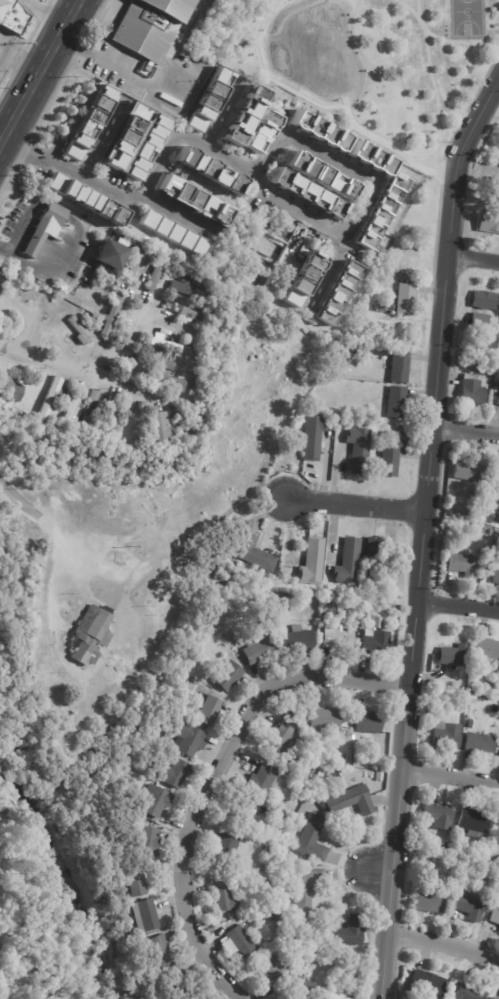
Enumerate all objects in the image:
building: (12, 16)
park: (465, 17)
building: (151, 28)
road: (181, 41)
road: (122, 61)
park: (363, 63)
road: (40, 73)
railway: (45, 84)
building: (209, 99)
road: (224, 112)
building: (245, 115)
road: (286, 118)
building: (90, 123)
building: (150, 123)
building: (319, 131)
building: (261, 132)
building: (125, 136)
road: (2, 137)
building: (146, 147)
road: (29, 151)
building: (372, 159)
building: (210, 171)
building: (321, 176)
building: (307, 194)
road: (281, 198)
building: (86, 200)
building: (194, 200)
building: (382, 212)
road: (176, 214)
building: (489, 222)
building: (45, 228)
building: (173, 234)
building: (110, 255)
road: (475, 261)
building: (134, 266)
road: (327, 272)
building: (156, 274)
building: (4, 279)
building: (302, 280)
building: (187, 290)
building: (27, 292)
building: (339, 294)
building: (405, 299)
building: (486, 300)
building: (183, 311)
building: (111, 315)
road: (24, 317)
building: (479, 320)
building: (6, 324)
building: (79, 331)
building: (168, 337)
road: (125, 341)
building: (492, 346)
building: (478, 360)
road: (66, 363)
building: (159, 363)
building: (399, 367)
building: (166, 381)
building: (473, 389)
building: (12, 391)
building: (50, 398)
building: (497, 400)
building: (396, 402)
building: (169, 403)
building: (90, 406)
building: (72, 409)
building: (108, 416)
building: (127, 423)
building: (160, 430)
road: (467, 431)
building: (313, 437)
building: (359, 447)
building: (391, 452)
building: (469, 472)
road: (17, 497)
road: (355, 508)
building: (462, 518)
building: (491, 531)
road: (423, 532)
building: (497, 536)
building: (253, 550)
building: (493, 551)
building: (377, 555)
building: (312, 561)
building: (348, 561)
building: (463, 565)
building: (496, 574)
building: (288, 597)
building: (342, 606)
road: (456, 606)
building: (365, 613)
building: (376, 621)
building: (89, 634)
building: (297, 639)
building: (337, 639)
building: (373, 642)
building: (487, 649)
building: (256, 652)
building: (454, 655)
building: (36, 670)
building: (227, 675)
building: (49, 683)
building: (61, 687)
building: (178, 688)
building: (472, 689)
building: (438, 696)
building: (472, 698)
building: (207, 710)
building: (326, 718)
building: (368, 723)
building: (446, 734)
building: (280, 738)
building: (186, 739)
building: (480, 742)
building: (319, 748)
building: (360, 760)
building: (312, 761)
building: (173, 773)
building: (336, 773)
road: (210, 775)
road: (450, 775)
building: (261, 778)
building: (153, 800)
building: (351, 800)
building: (242, 809)
building: (439, 815)
building: (473, 822)
building: (495, 834)
building: (312, 838)
building: (146, 842)
building: (447, 847)
building: (226, 848)
building: (437, 850)
building: (268, 853)
building: (494, 862)
road: (387, 872)
building: (131, 880)
building: (498, 885)
building: (305, 887)
building: (224, 897)
building: (430, 903)
building: (470, 907)
building: (276, 909)
building: (142, 915)
building: (232, 915)
building: (494, 915)
building: (277, 918)
building: (263, 924)
building: (282, 926)
building: (310, 930)
building: (498, 931)
building: (347, 932)
building: (241, 942)
road: (444, 944)
building: (159, 950)
building: (360, 954)
building: (271, 968)
building: (429, 982)
building: (178, 986)
building: (303, 988)
building: (21, 991)
building: (470, 992)
building: (335, 996)
building: (496, 998)

